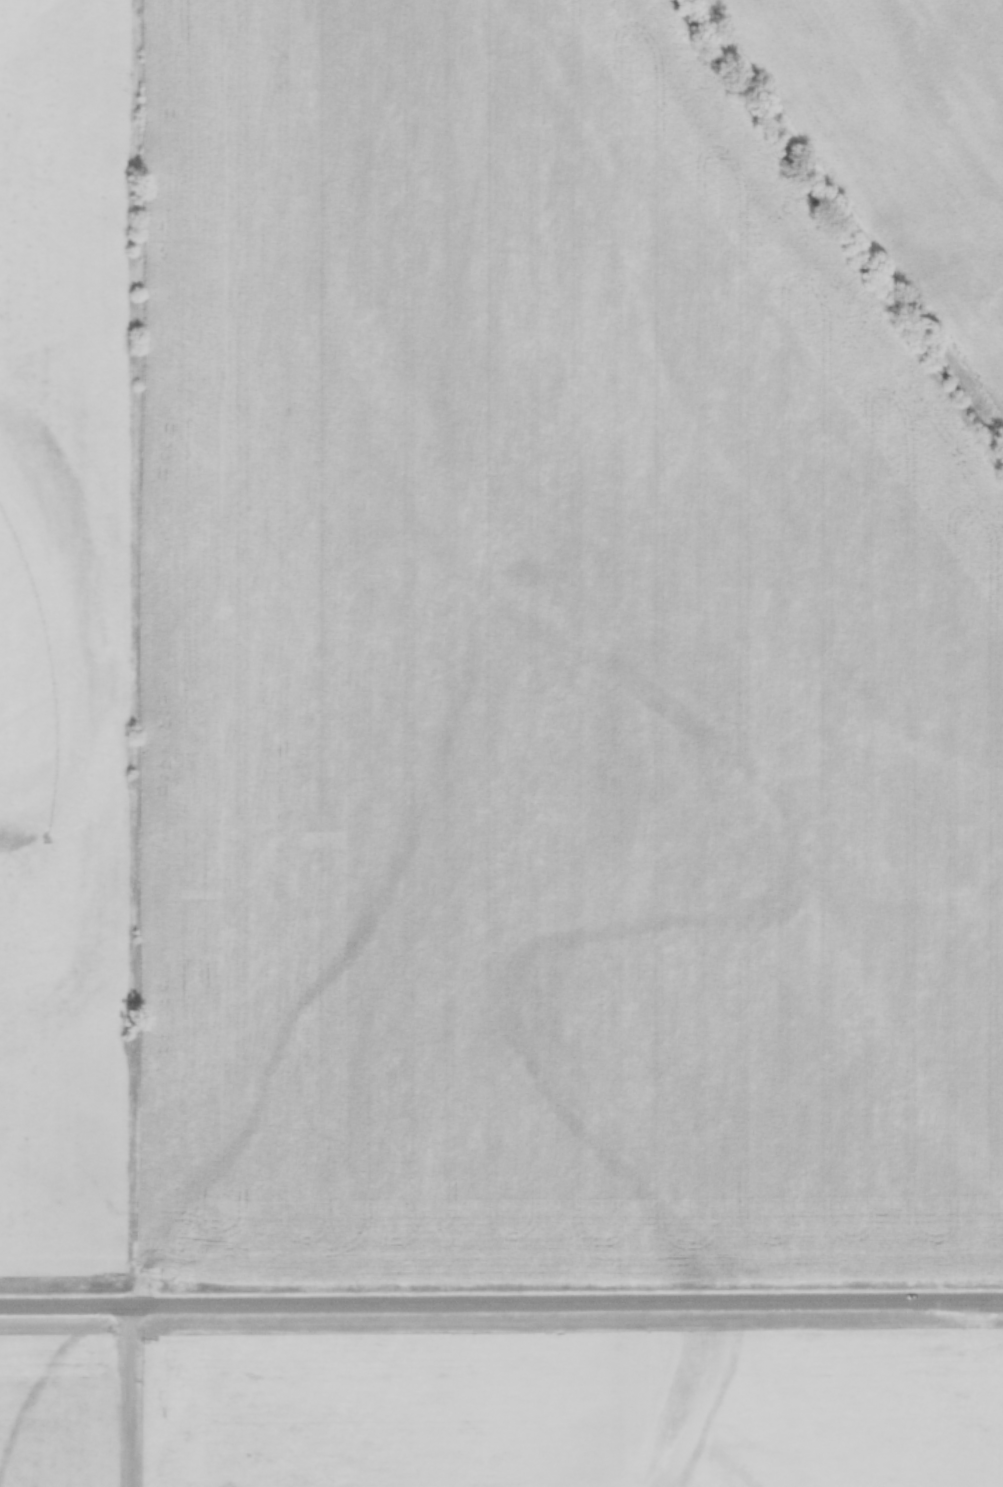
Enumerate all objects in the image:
river: (838, 228)
road: (501, 1302)
road: (139, 1396)

